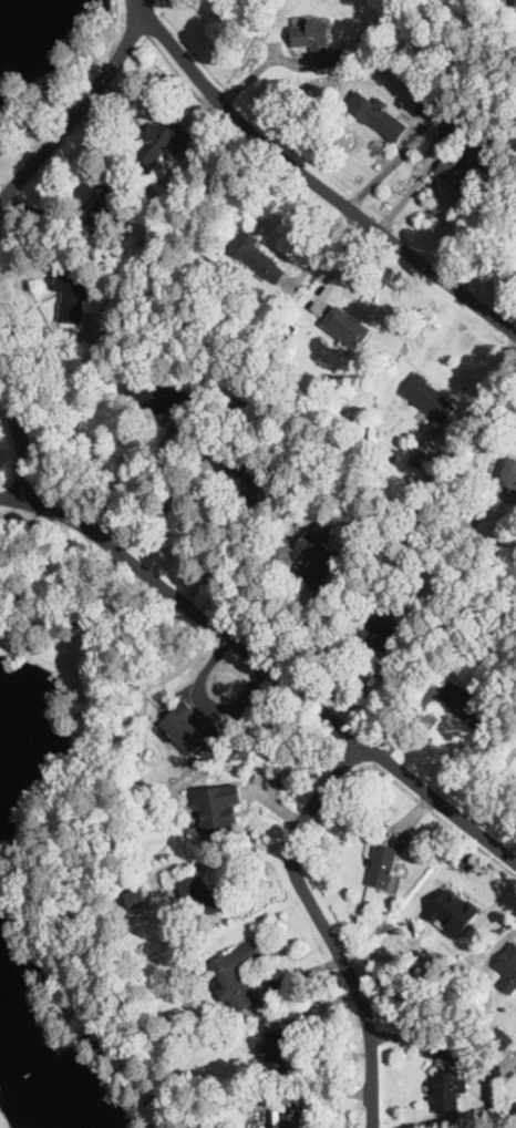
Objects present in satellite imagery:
building: (318, 43)
road: (79, 107)
building: (426, 109)
building: (376, 115)
building: (454, 124)
building: (163, 140)
road: (389, 166)
building: (233, 170)
building: (458, 173)
road: (313, 180)
road: (414, 184)
building: (114, 202)
building: (154, 250)
road: (486, 252)
building: (256, 256)
road: (344, 267)
building: (73, 290)
building: (275, 310)
building: (112, 326)
building: (347, 328)
building: (326, 378)
building: (429, 398)
building: (162, 399)
building: (235, 409)
road: (21, 447)
building: (423, 455)
building: (242, 462)
building: (510, 474)
road: (134, 481)
building: (296, 511)
building: (320, 555)
building: (415, 601)
building: (380, 636)
road: (265, 665)
building: (474, 712)
building: (182, 729)
building: (217, 807)
building: (431, 859)
building: (383, 866)
building: (136, 898)
building: (200, 898)
building: (453, 912)
road: (324, 924)
building: (508, 968)
building: (233, 976)
building: (503, 1039)
building: (275, 1052)
building: (447, 1091)
building: (288, 1120)
building: (483, 1127)

